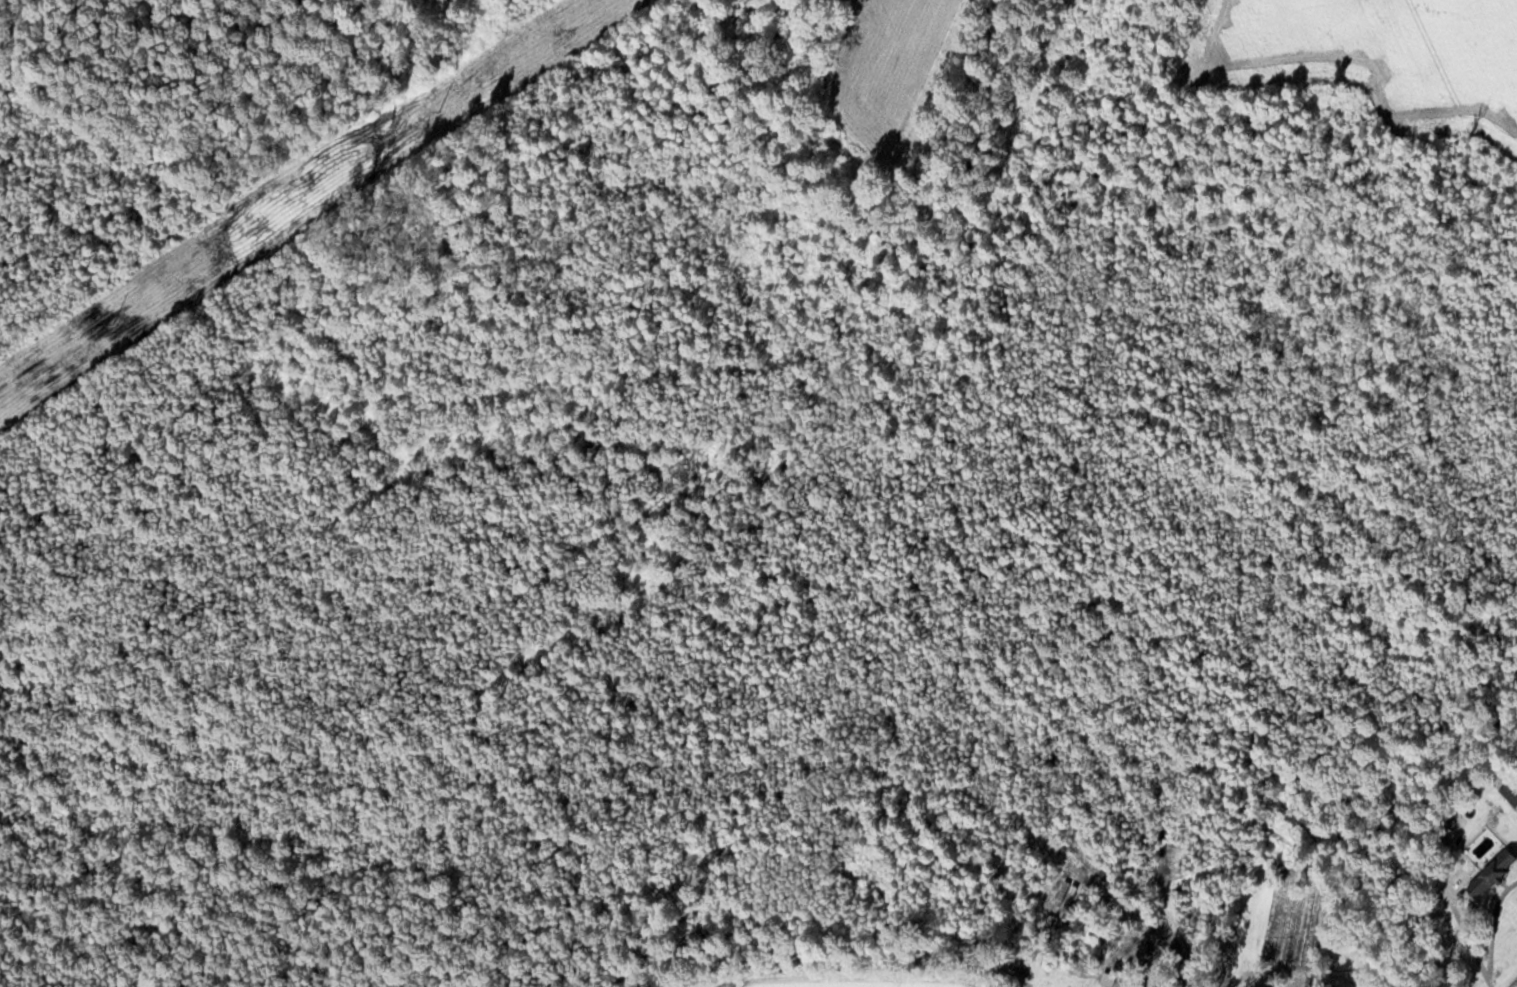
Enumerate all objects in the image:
building: (1509, 791)
building: (1490, 873)

